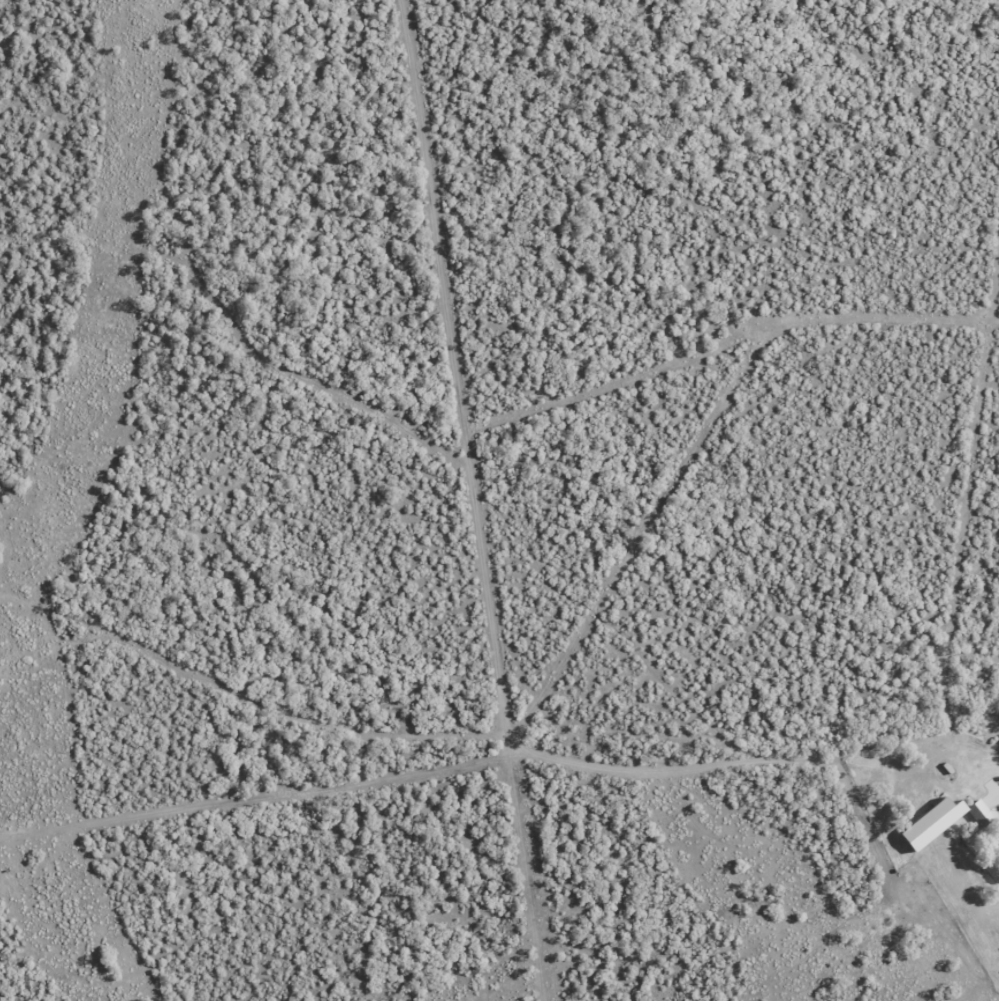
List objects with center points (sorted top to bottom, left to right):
building: (978, 814)
building: (998, 840)
road: (988, 842)

